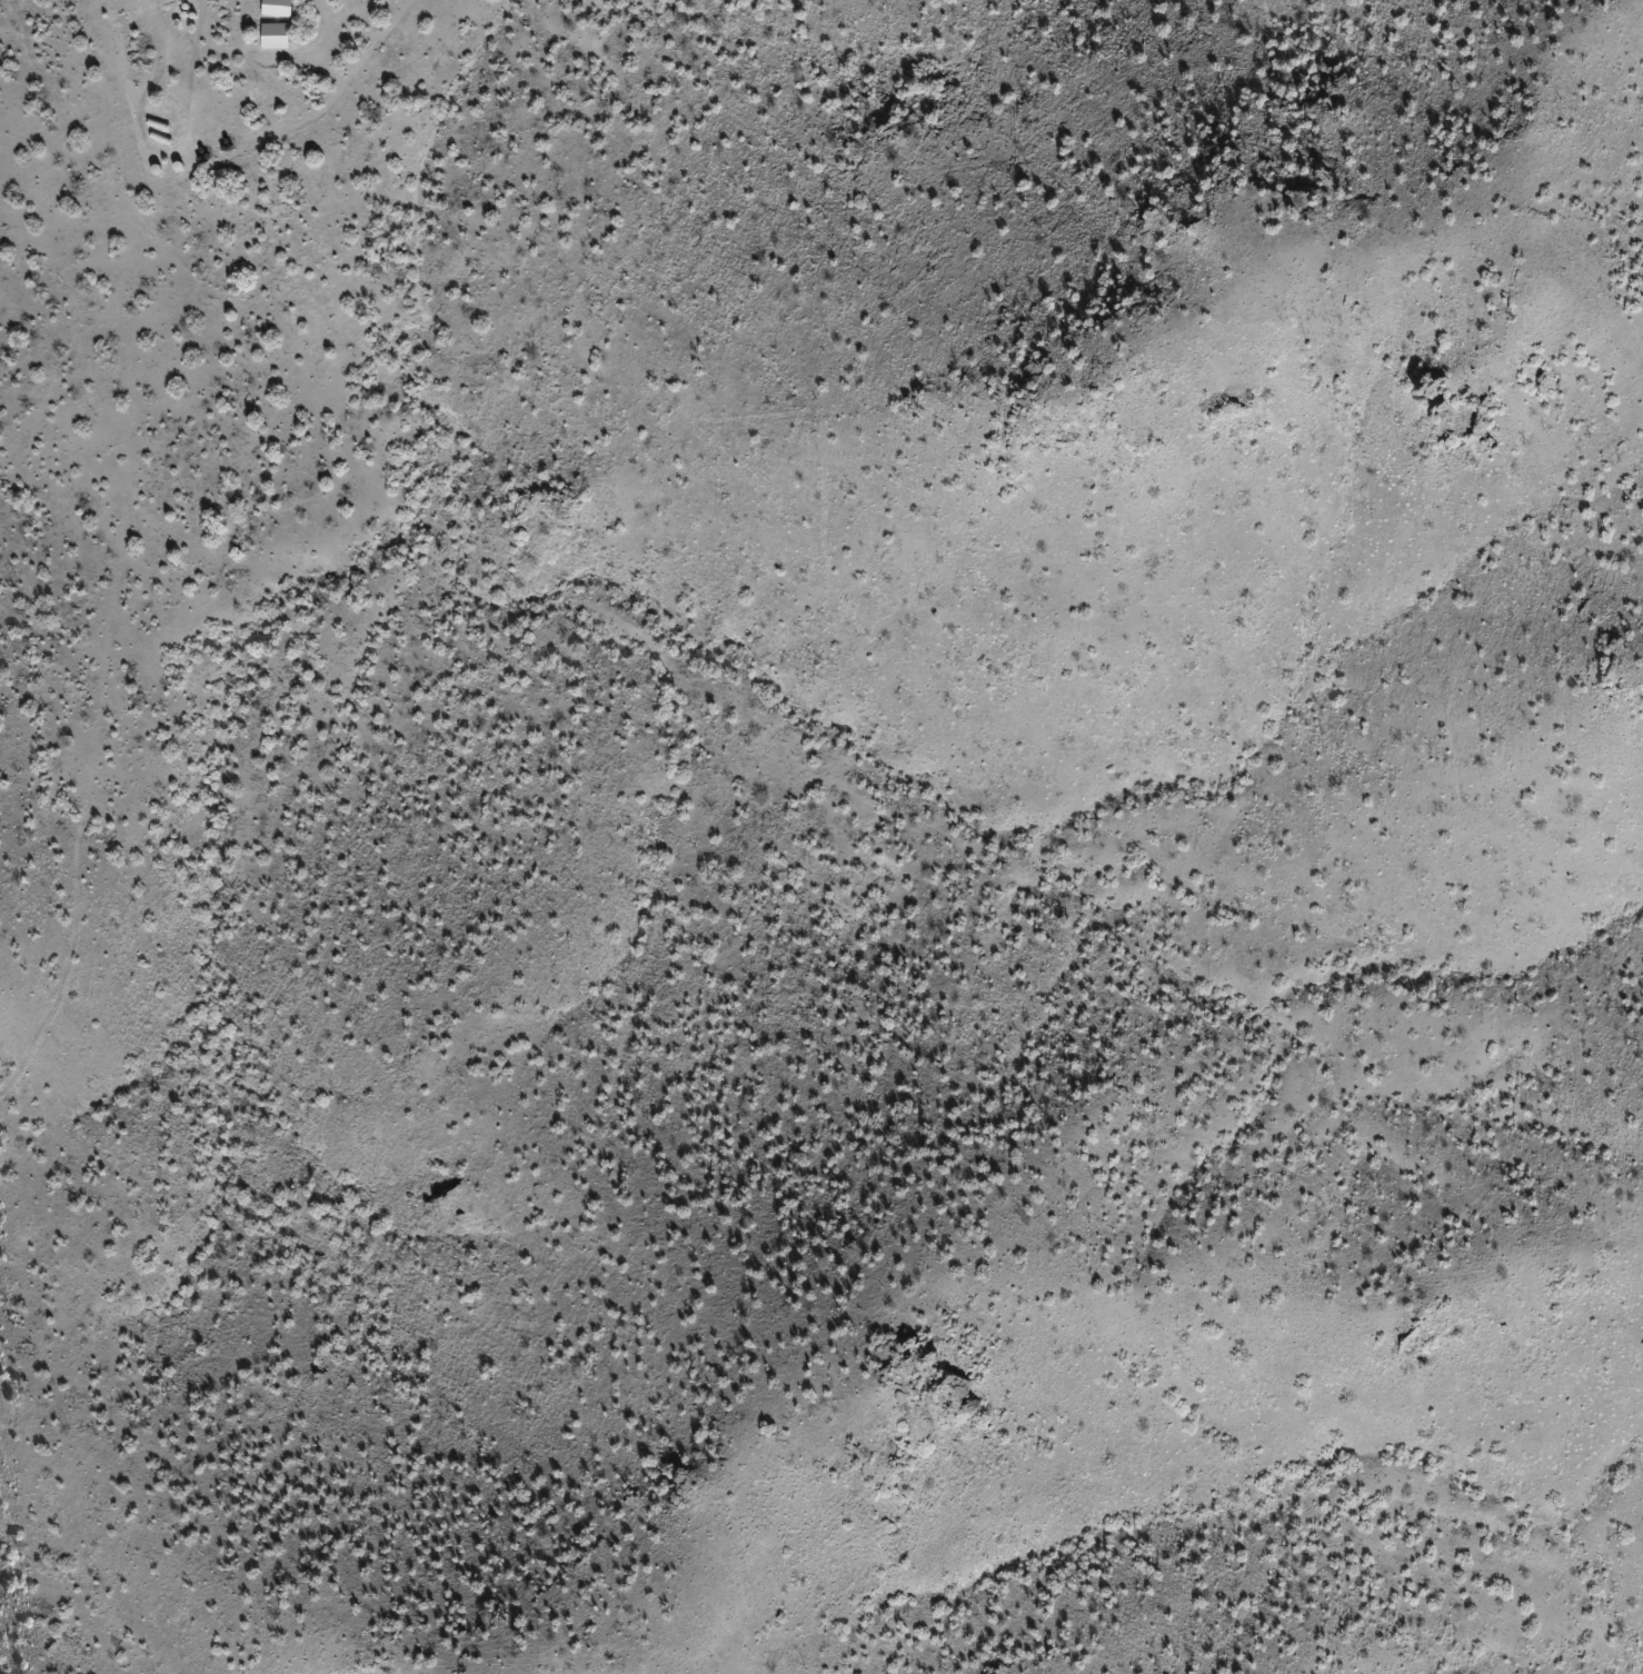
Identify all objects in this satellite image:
building: (276, 8)
building: (273, 37)

